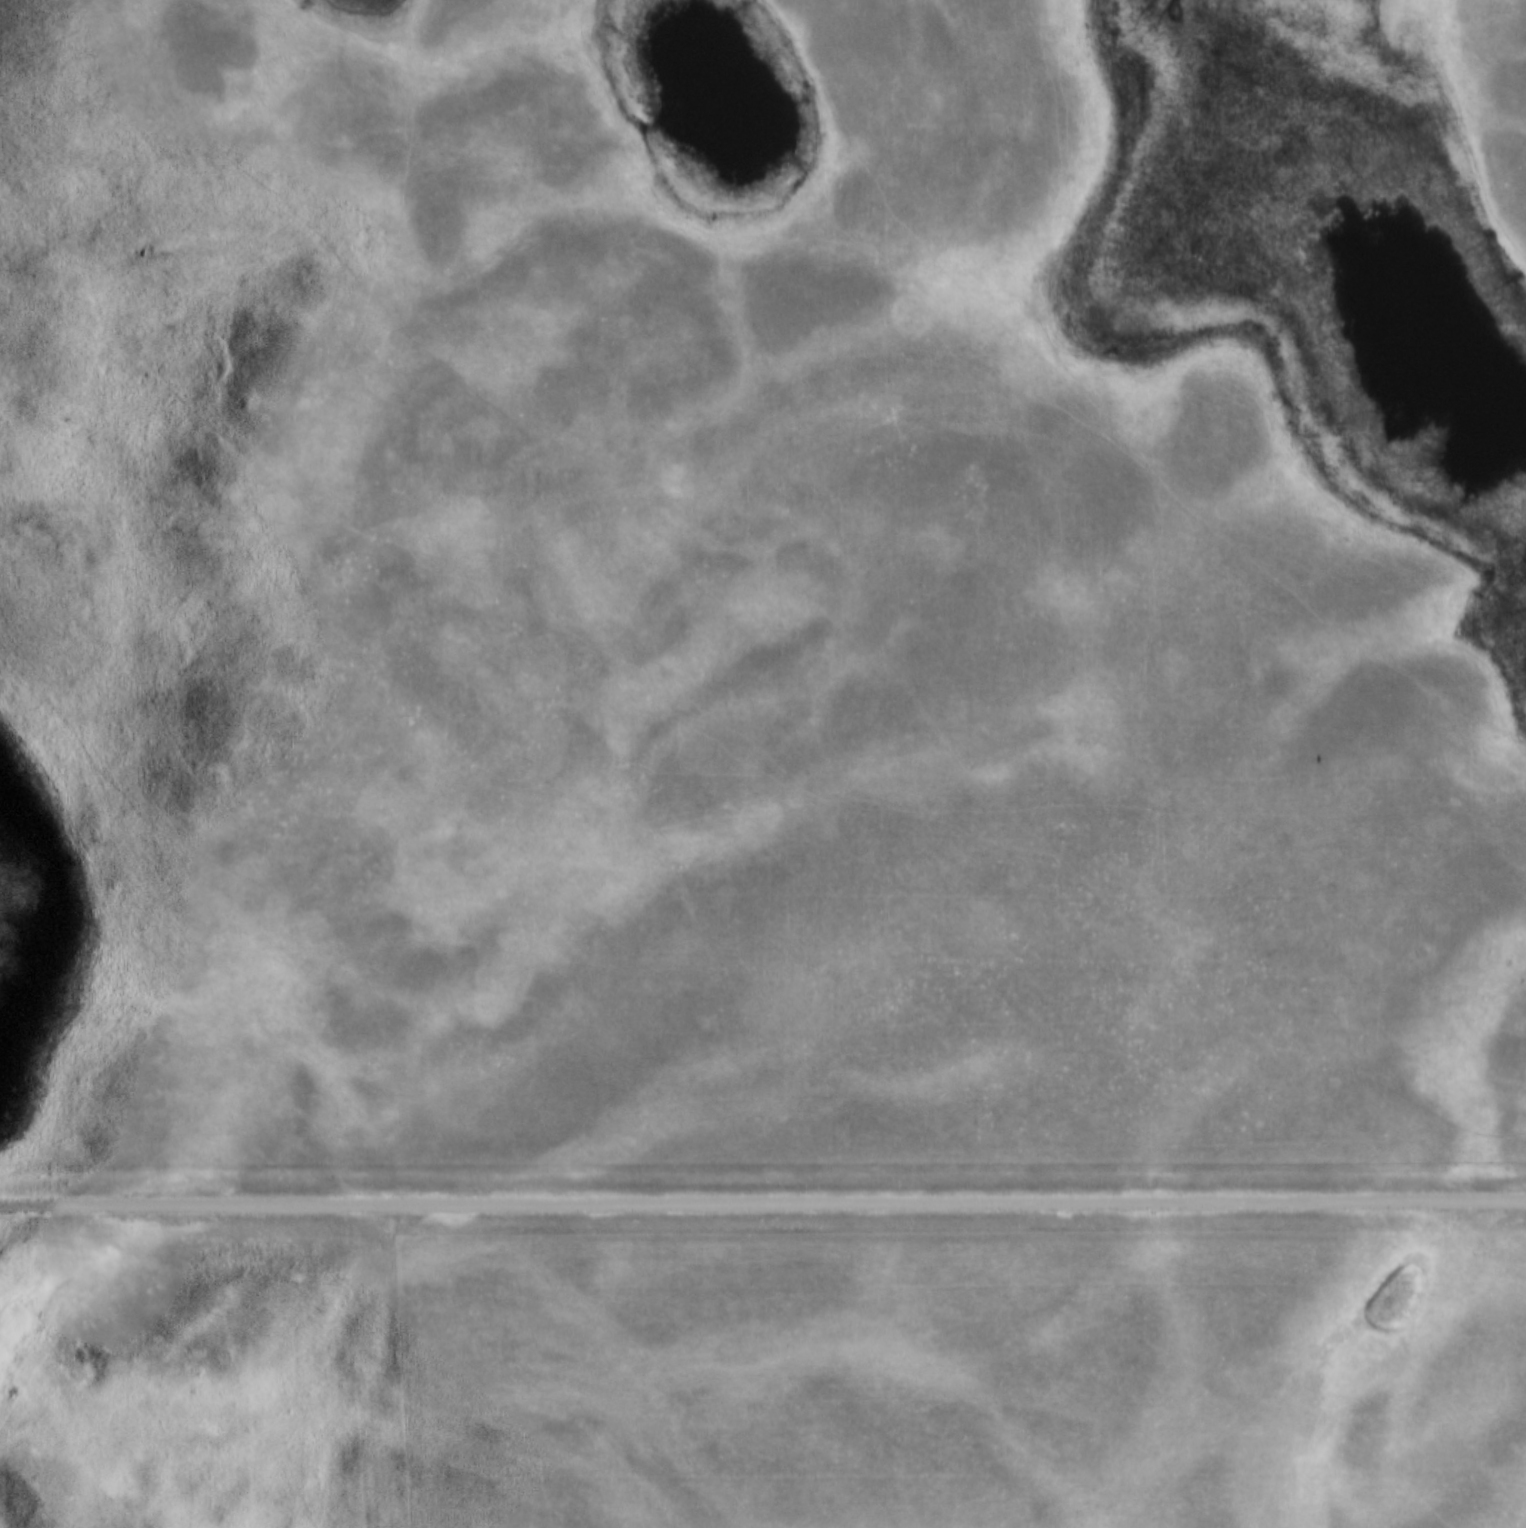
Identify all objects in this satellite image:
road: (762, 1205)
road: (395, 1367)

